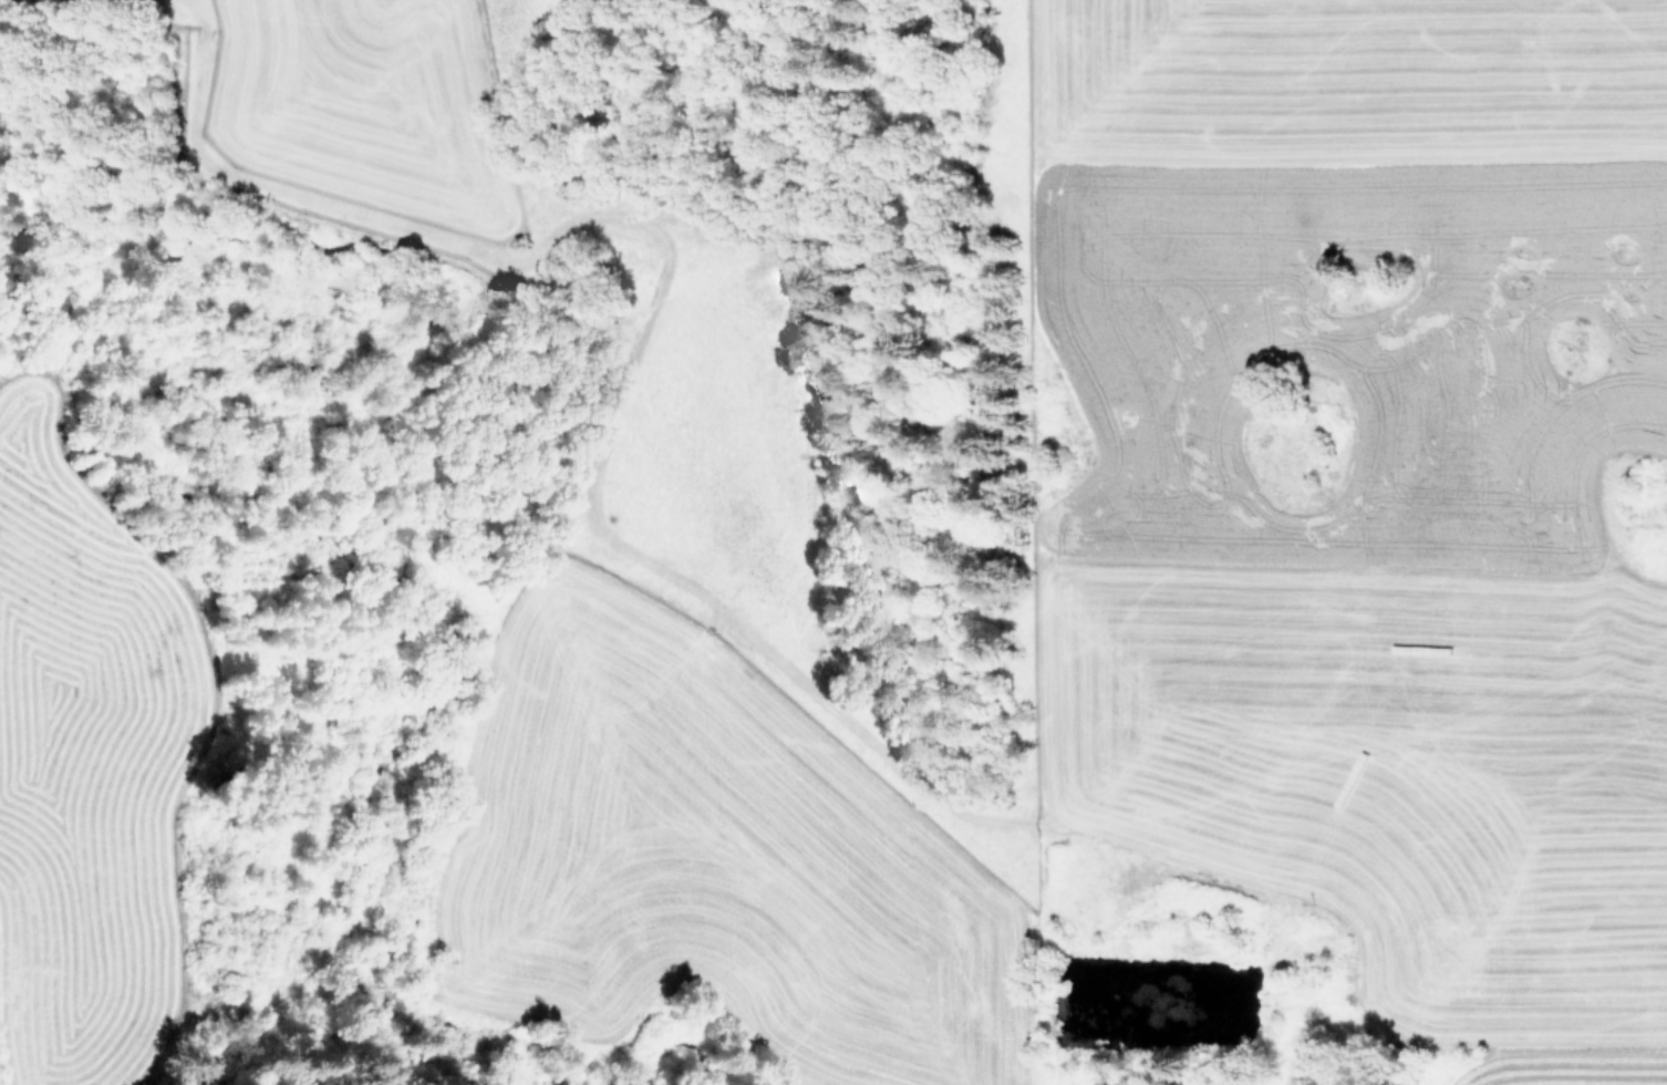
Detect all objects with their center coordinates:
crop: (327, 82)
crop: (1369, 473)
river: (418, 679)

